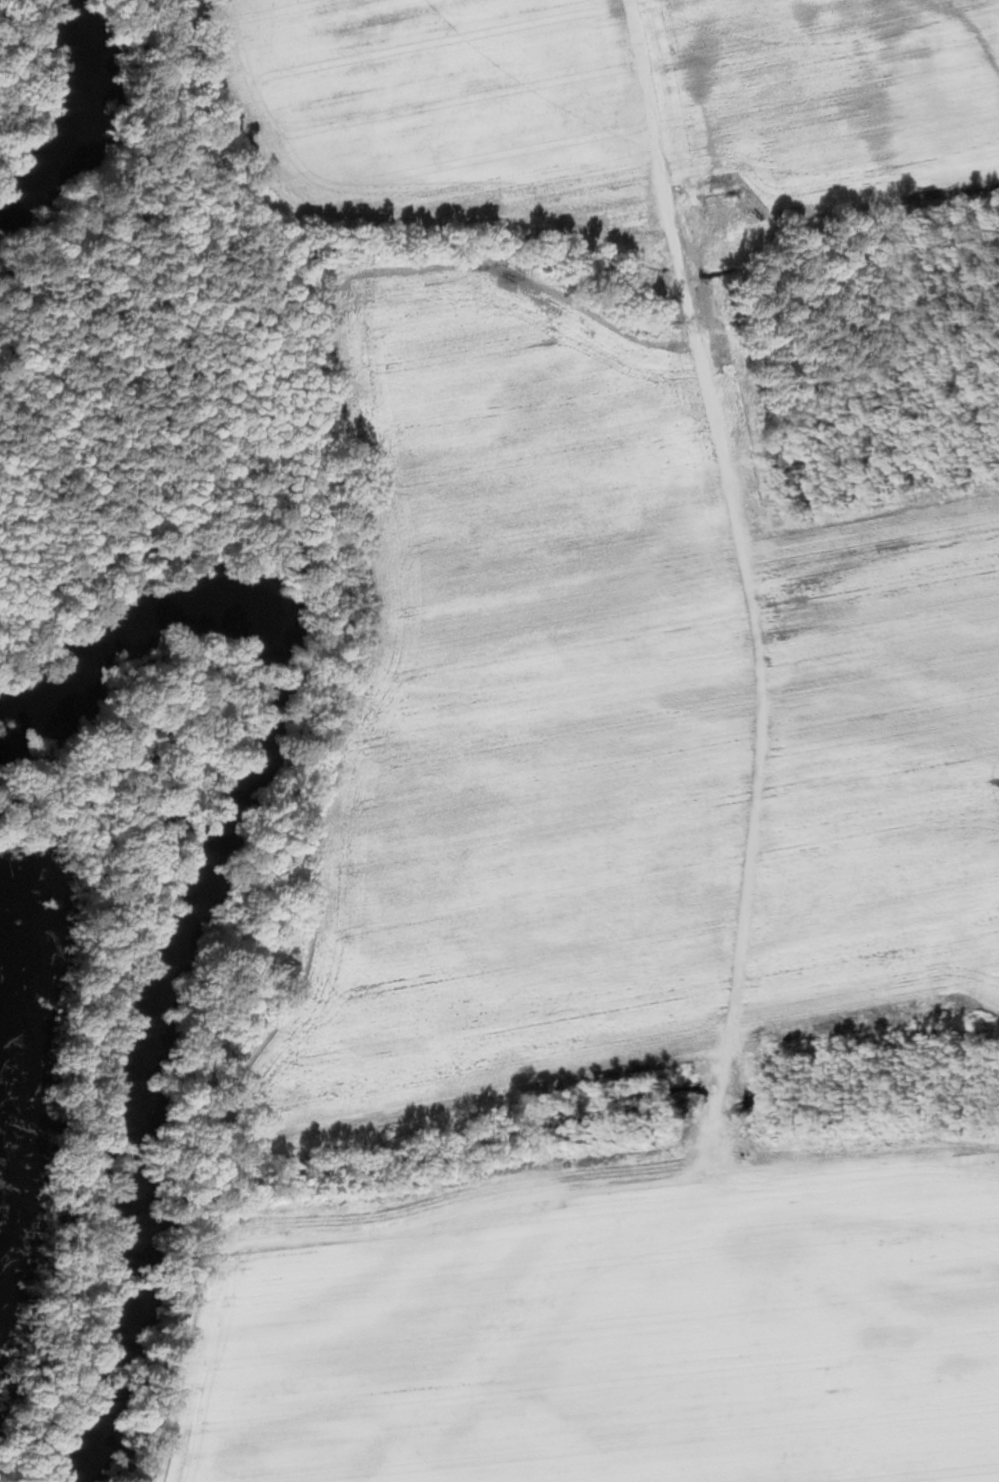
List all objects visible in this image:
river: (64, 105)
road: (698, 313)
river: (174, 902)

